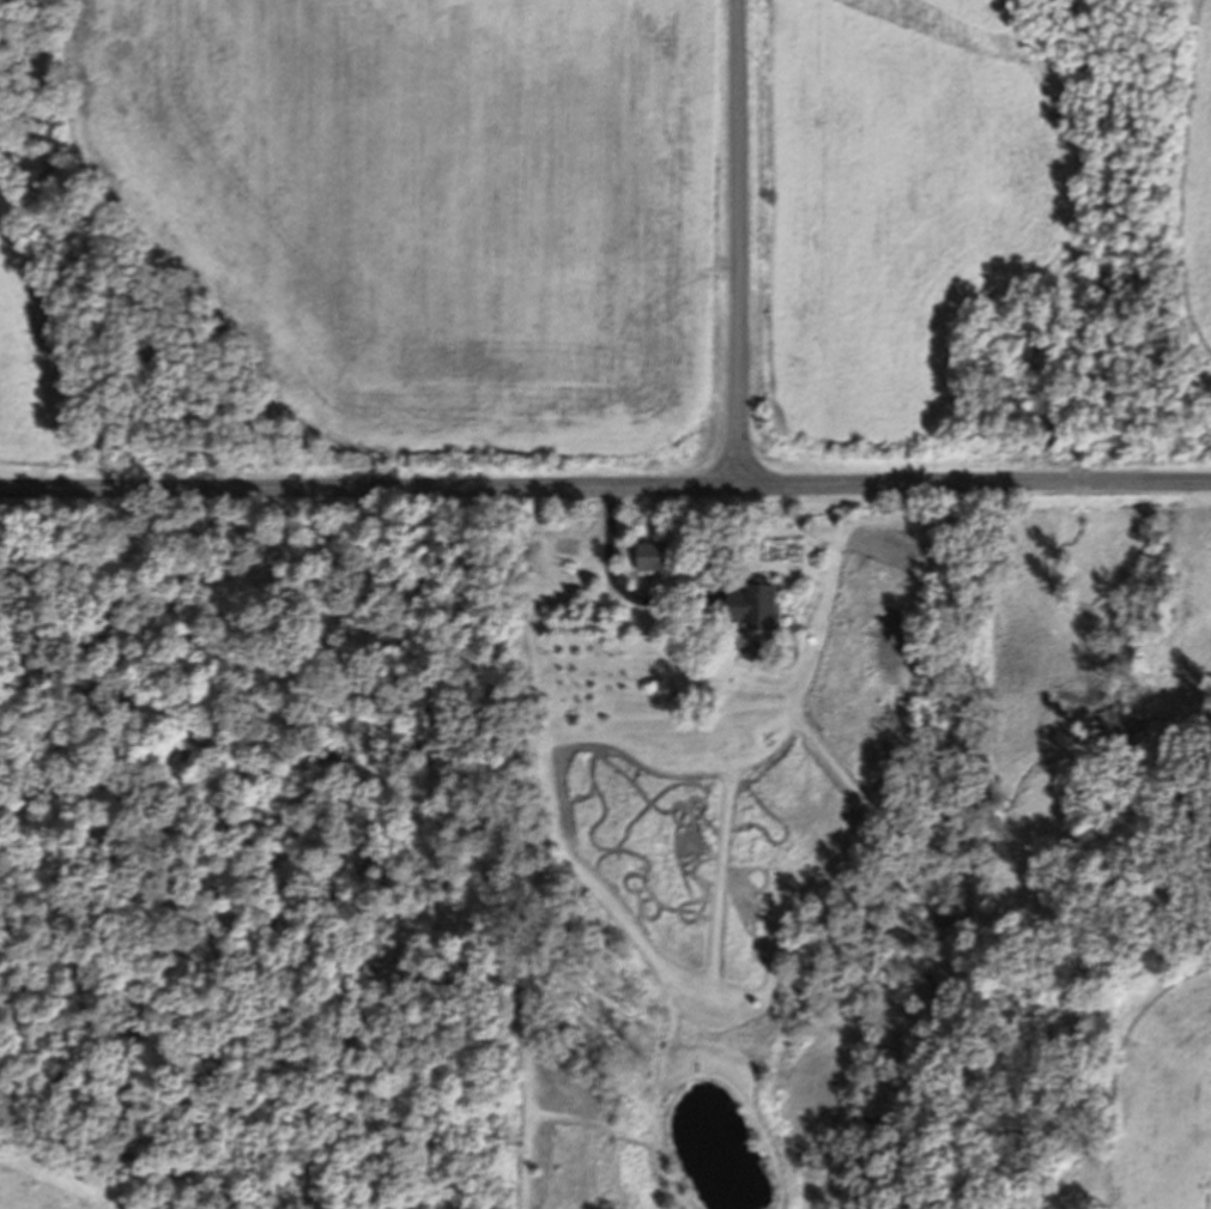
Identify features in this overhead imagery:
road: (739, 241)
road: (605, 483)
building: (653, 556)
building: (750, 605)

